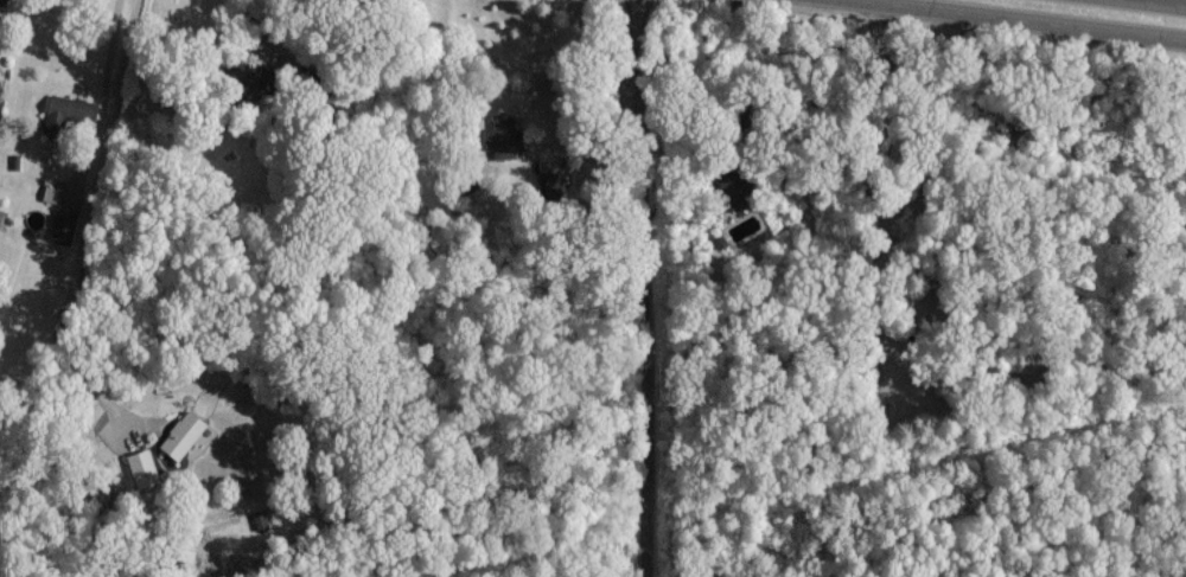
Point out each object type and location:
building: (1, 0)
road: (1171, 1)
road: (1035, 18)
building: (235, 76)
road: (104, 100)
building: (64, 111)
building: (500, 135)
building: (550, 184)
building: (732, 192)
building: (49, 193)
building: (63, 223)
road: (646, 288)
building: (180, 435)
building: (141, 467)

